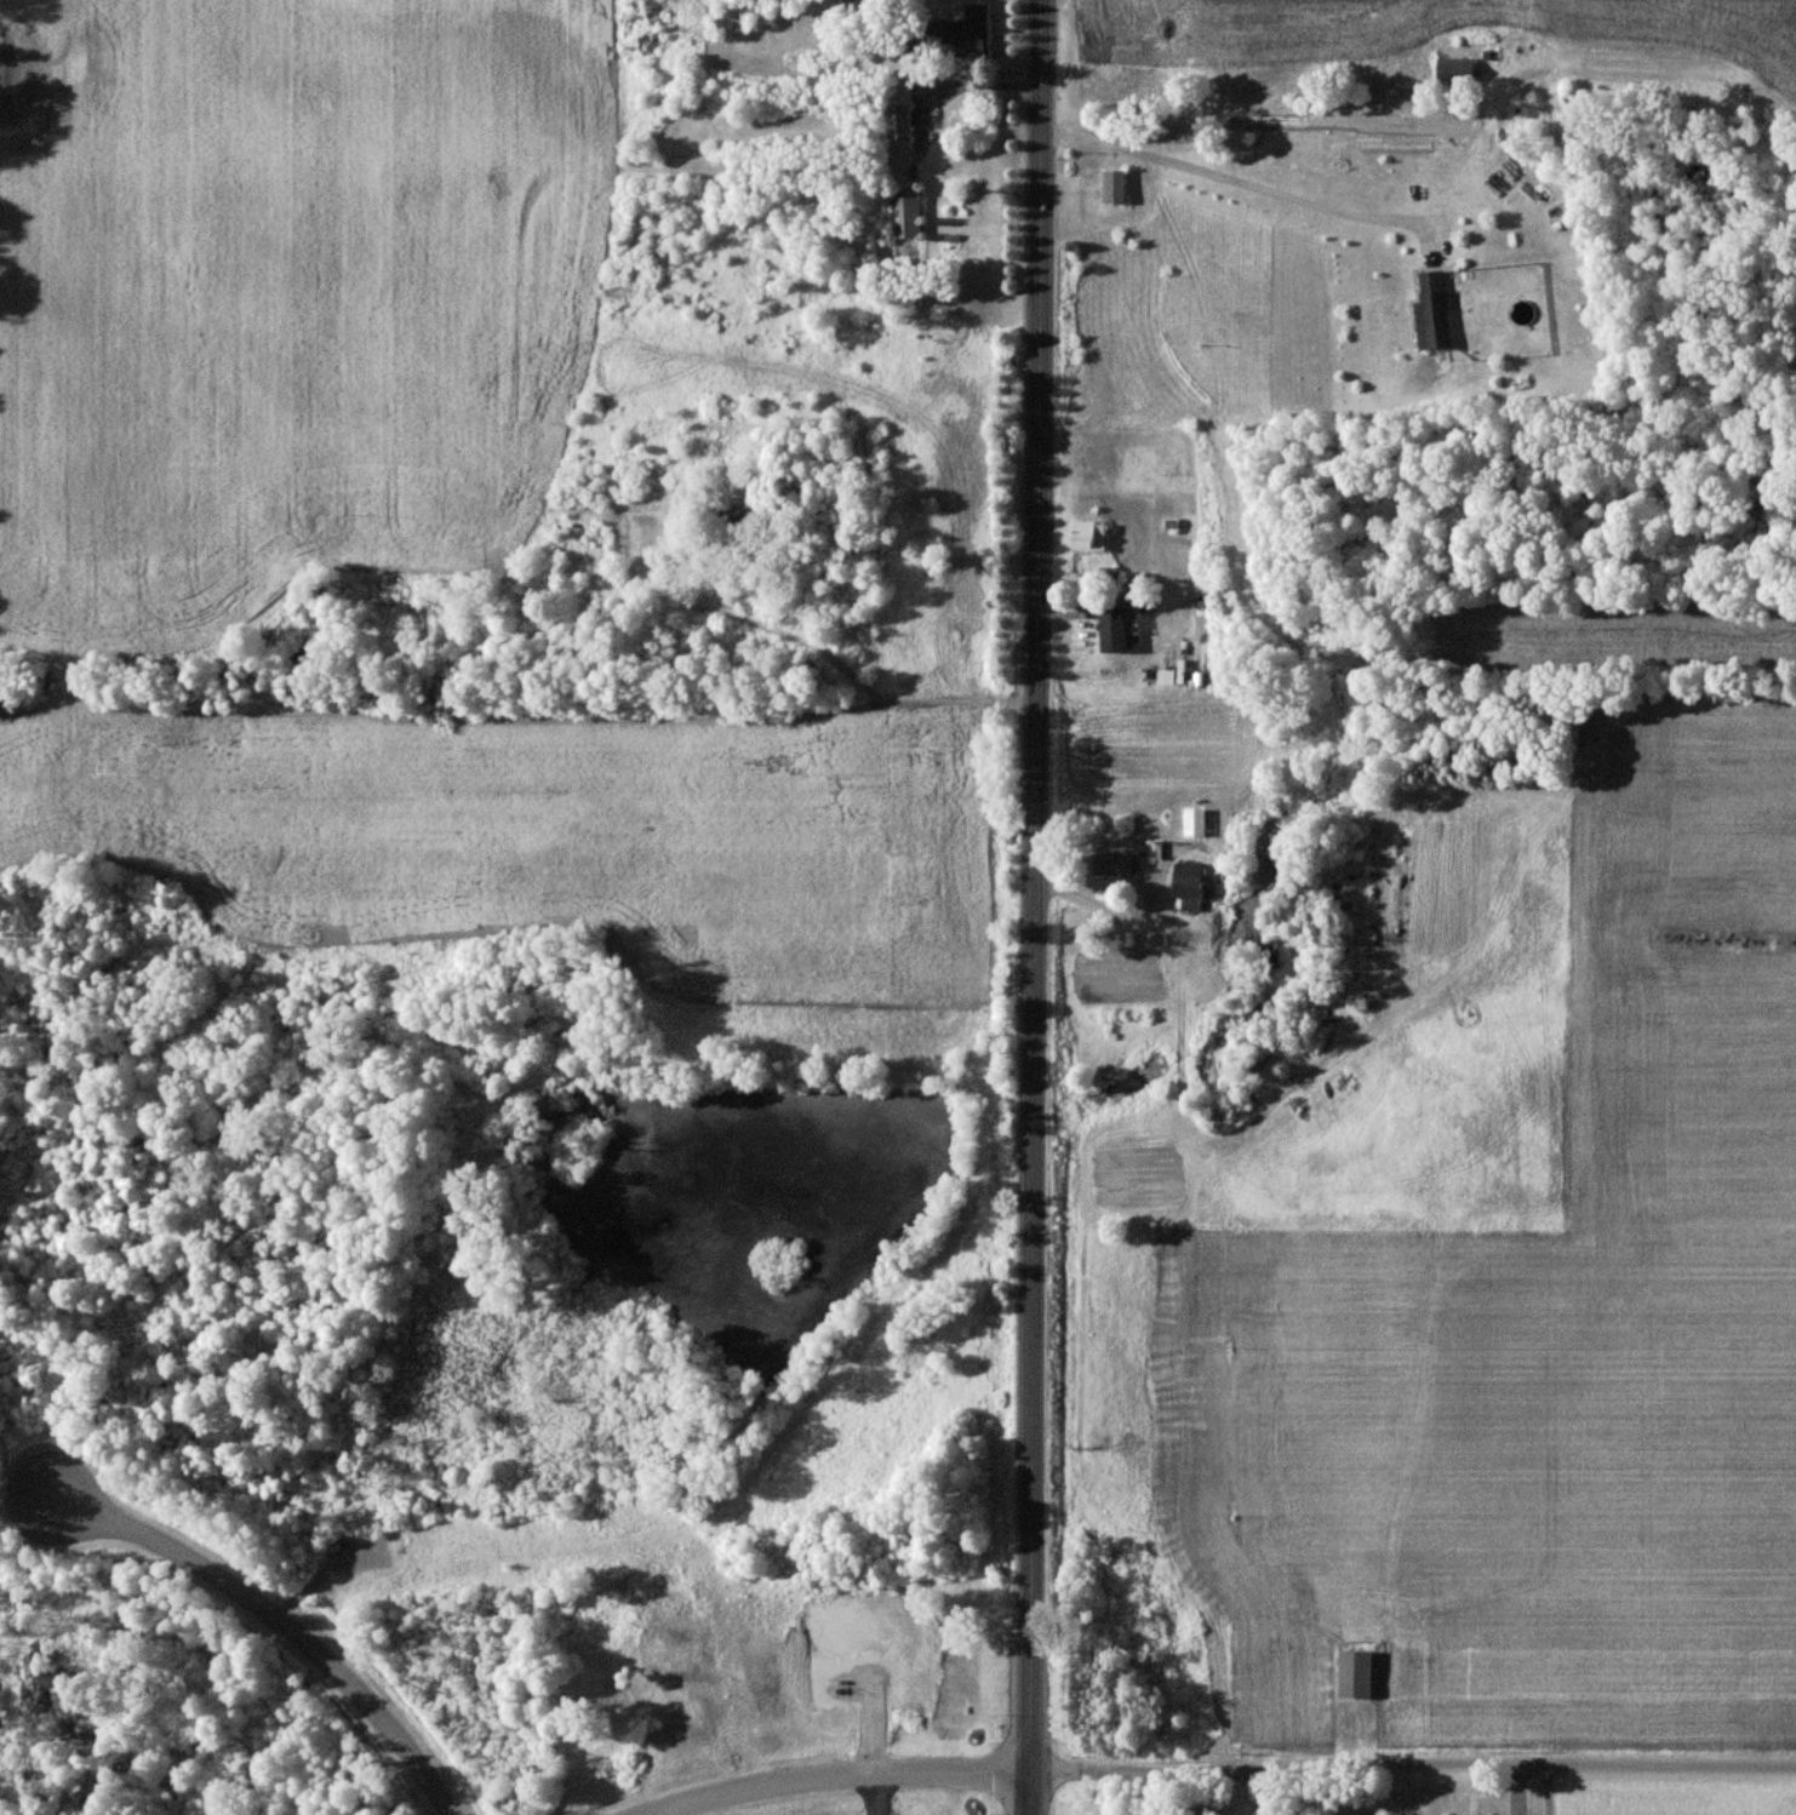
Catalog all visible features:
building: (967, 32)
building: (1455, 69)
building: (899, 122)
road: (1251, 184)
building: (1114, 187)
building: (905, 212)
building: (1432, 313)
building: (1089, 536)
building: (1114, 631)
road: (806, 645)
building: (1196, 821)
building: (1114, 863)
building: (1189, 886)
road: (1035, 908)
road: (281, 1625)
building: (1356, 1673)
road: (1413, 1767)
road: (846, 1777)

